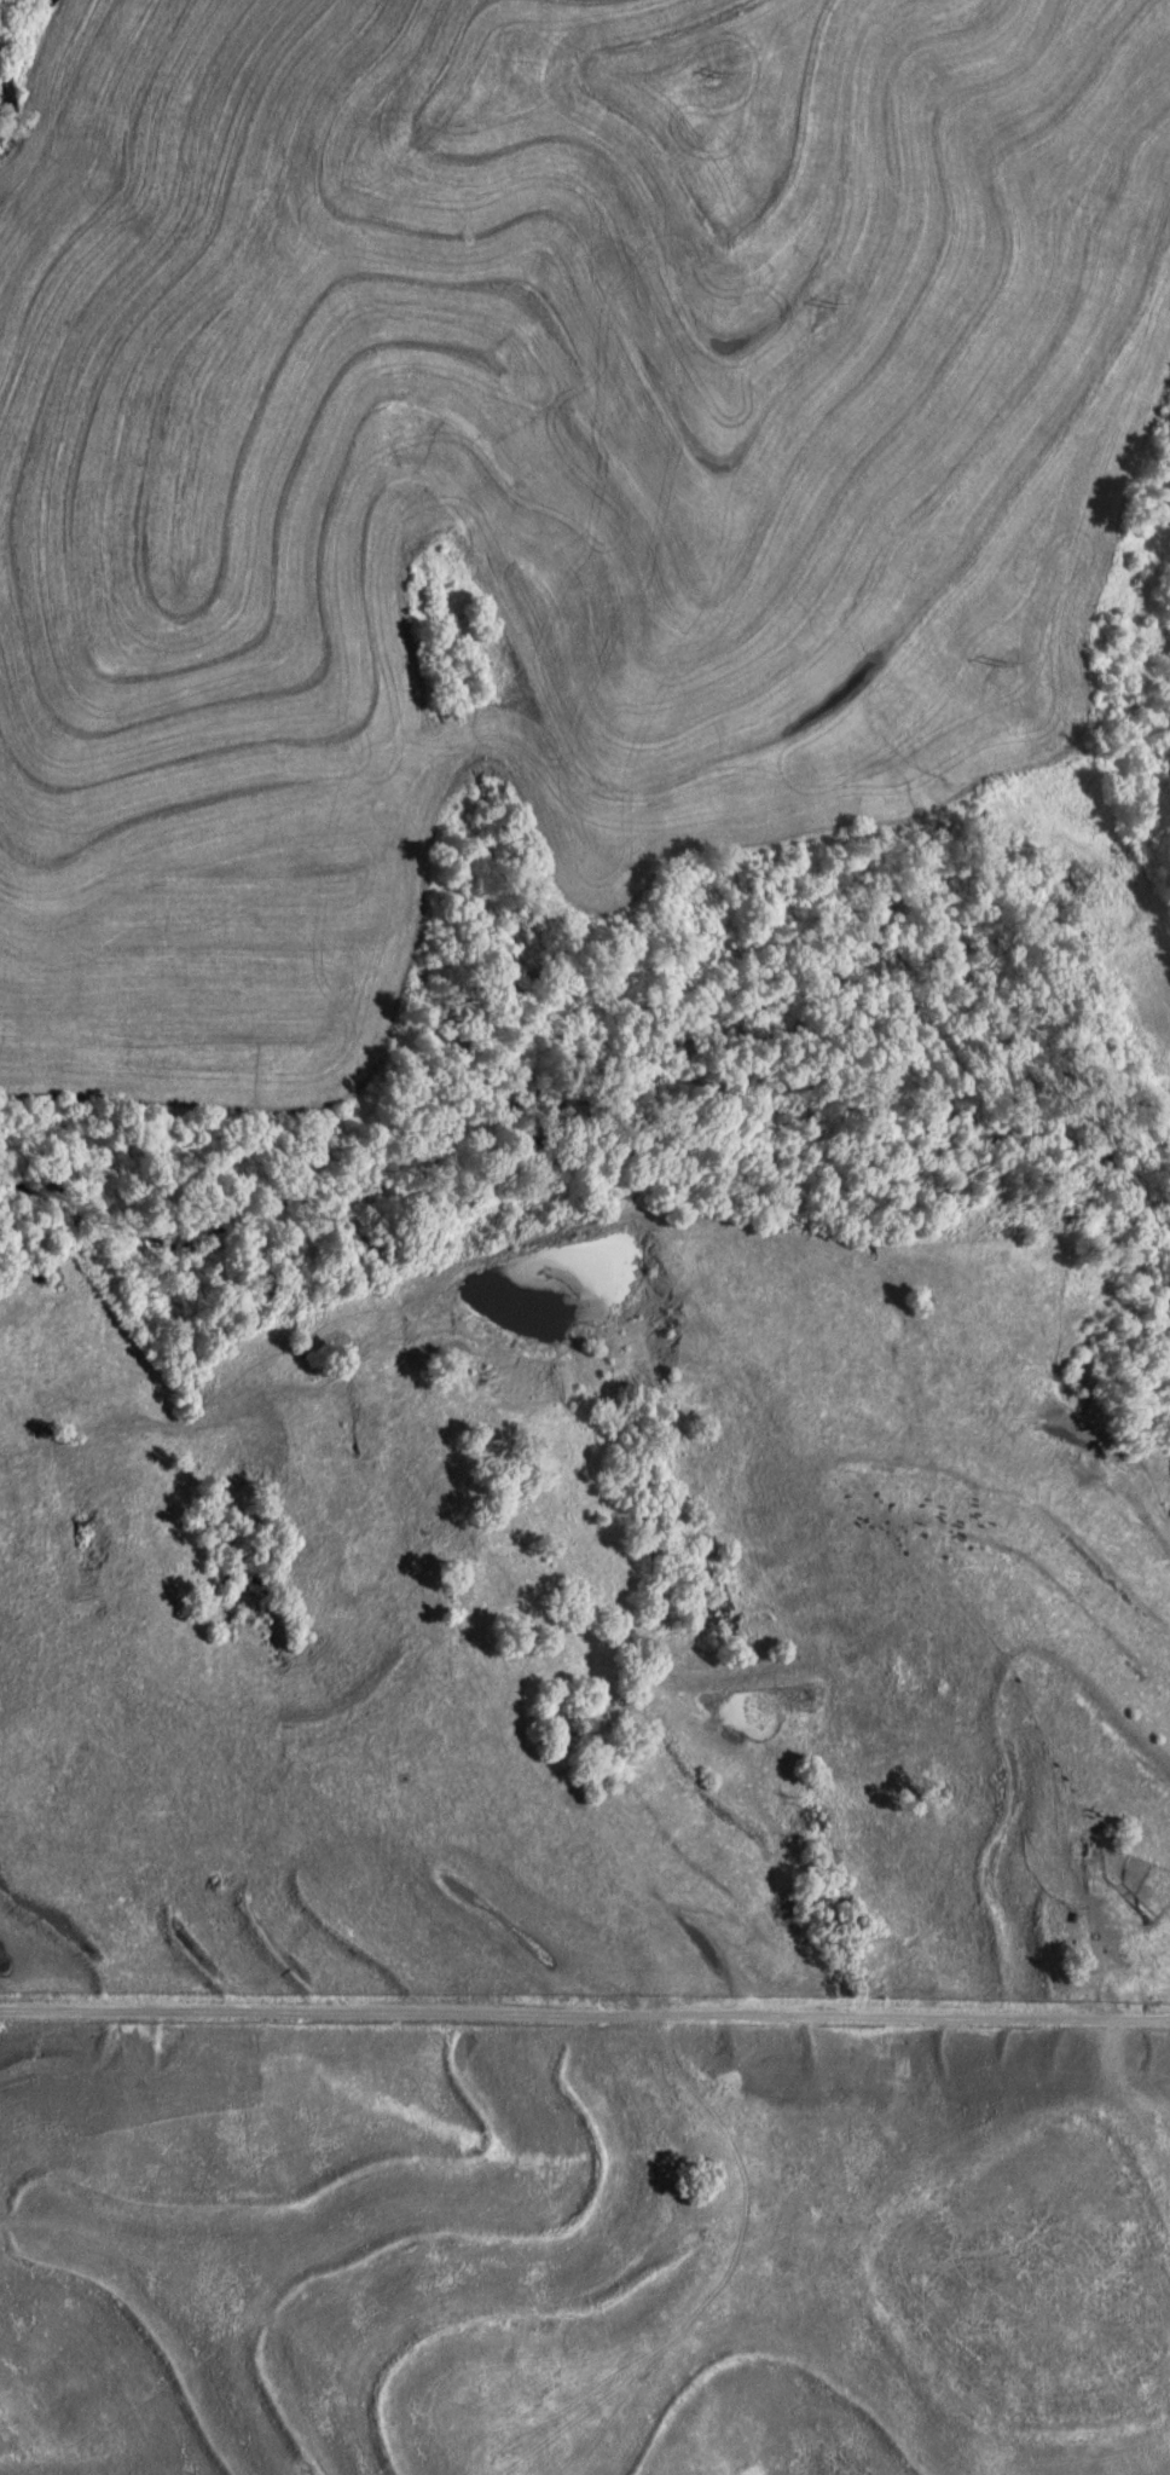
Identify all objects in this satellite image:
road: (584, 2012)

